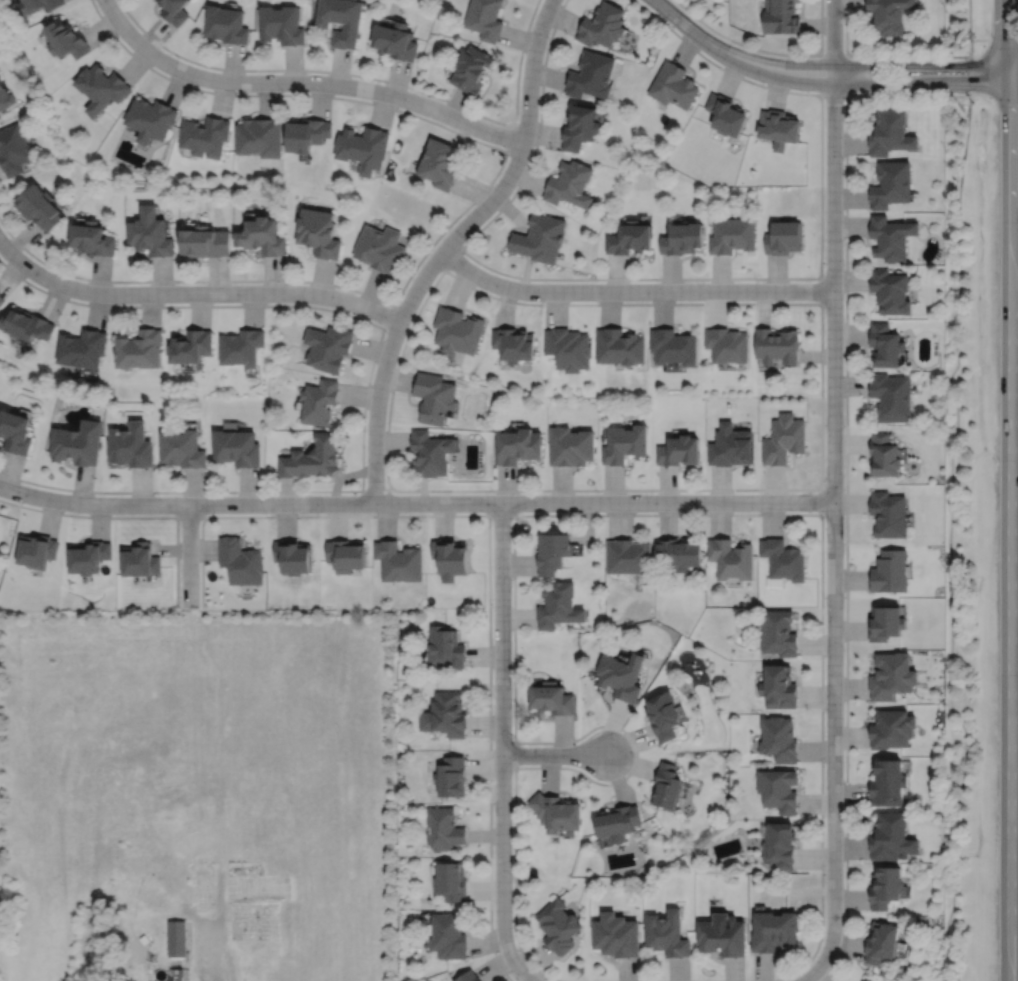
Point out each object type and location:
building: (39, 6)
building: (173, 11)
building: (889, 15)
building: (780, 17)
building: (485, 19)
road: (969, 19)
building: (341, 21)
street lamp: (670, 25)
building: (226, 26)
building: (281, 26)
building: (602, 26)
street lamp: (548, 37)
street lamp: (974, 37)
building: (66, 40)
road: (994, 40)
building: (395, 42)
road: (971, 48)
road: (767, 51)
road: (846, 54)
road: (882, 54)
road: (735, 57)
street lamp: (852, 57)
street lamp: (178, 58)
road: (922, 65)
road: (1015, 65)
traffic signals: (1012, 66)
building: (472, 71)
road: (971, 75)
road: (369, 77)
building: (592, 77)
building: (0, 79)
road: (303, 83)
street lamp: (763, 83)
road: (922, 86)
building: (672, 87)
traffic signals: (1012, 87)
road: (1015, 87)
building: (101, 89)
street lamp: (282, 92)
building: (5, 99)
street lamp: (974, 103)
street lamp: (408, 110)
building: (725, 116)
building: (150, 121)
building: (581, 129)
building: (778, 129)
building: (892, 132)
building: (305, 136)
road: (512, 136)
building: (204, 138)
building: (258, 139)
building: (363, 150)
building: (13, 151)
street lamp: (843, 158)
street lamp: (508, 162)
building: (440, 165)
building: (571, 182)
building: (892, 182)
building: (40, 206)
road: (464, 209)
building: (151, 231)
building: (319, 233)
building: (732, 233)
building: (541, 236)
building: (632, 236)
building: (685, 236)
building: (784, 236)
building: (892, 236)
building: (93, 237)
building: (263, 237)
building: (206, 240)
street lamp: (465, 240)
road: (448, 244)
building: (380, 247)
road: (453, 258)
street lamp: (823, 272)
street lamp: (25, 277)
road: (697, 277)
street lamp: (656, 280)
street lamp: (758, 281)
street lamp: (288, 282)
street lamp: (178, 283)
road: (633, 290)
road: (821, 290)
building: (891, 290)
road: (195, 293)
building: (2, 298)
street lamp: (543, 301)
road: (821, 305)
road: (389, 316)
building: (27, 323)
building: (458, 329)
street lamp: (384, 336)
building: (515, 342)
building: (728, 343)
building: (777, 344)
building: (886, 344)
building: (192, 345)
building: (621, 345)
building: (675, 345)
building: (242, 346)
building: (329, 346)
building: (83, 347)
building: (570, 347)
building: (140, 348)
road: (367, 389)
building: (435, 396)
street lamp: (824, 396)
building: (893, 396)
building: (319, 401)
street lamp: (366, 430)
building: (15, 431)
building: (783, 439)
building: (78, 442)
building: (626, 443)
building: (131, 445)
building: (519, 445)
building: (731, 445)
building: (571, 446)
building: (237, 447)
building: (183, 448)
building: (680, 450)
building: (432, 452)
building: (884, 455)
building: (312, 457)
road: (834, 476)
road: (846, 477)
road: (377, 490)
road: (1011, 490)
street lamp: (356, 492)
street lamp: (494, 492)
street lamp: (599, 492)
street lamp: (158, 494)
road: (821, 501)
street lamp: (23, 502)
road: (416, 502)
street lamp: (706, 511)
street lamp: (266, 513)
road: (504, 514)
building: (889, 514)
road: (189, 516)
road: (133, 517)
street lamp: (823, 518)
road: (950, 539)
building: (36, 550)
building: (554, 552)
building: (681, 553)
building: (345, 554)
road: (189, 555)
building: (293, 556)
building: (630, 556)
building: (88, 557)
building: (450, 558)
building: (732, 559)
building: (783, 559)
building: (140, 560)
building: (242, 561)
building: (399, 561)
road: (489, 561)
building: (890, 571)
street lamp: (180, 602)
street lamp: (492, 604)
building: (560, 606)
building: (886, 623)
building: (778, 633)
building: (445, 647)
street lamp: (843, 649)
building: (622, 676)
building: (892, 676)
building: (778, 688)
building: (553, 699)
building: (445, 714)
building: (666, 716)
road: (502, 724)
building: (892, 730)
street lamp: (512, 737)
building: (778, 739)
street lamp: (578, 741)
road: (514, 754)
road: (554, 754)
street lamp: (824, 767)
building: (451, 777)
building: (888, 785)
building: (669, 787)
building: (778, 791)
building: (558, 813)
building: (620, 824)
building: (443, 829)
building: (892, 837)
building: (779, 845)
street lamp: (824, 872)
street lamp: (511, 876)
building: (450, 879)
building: (886, 884)
building: (558, 924)
building: (773, 928)
building: (668, 932)
building: (617, 933)
building: (447, 934)
building: (722, 934)
building: (177, 937)
building: (882, 941)
road: (216, 946)
road: (515, 966)
road: (818, 968)
building: (467, 976)
building: (867, 979)
road: (685, 980)

